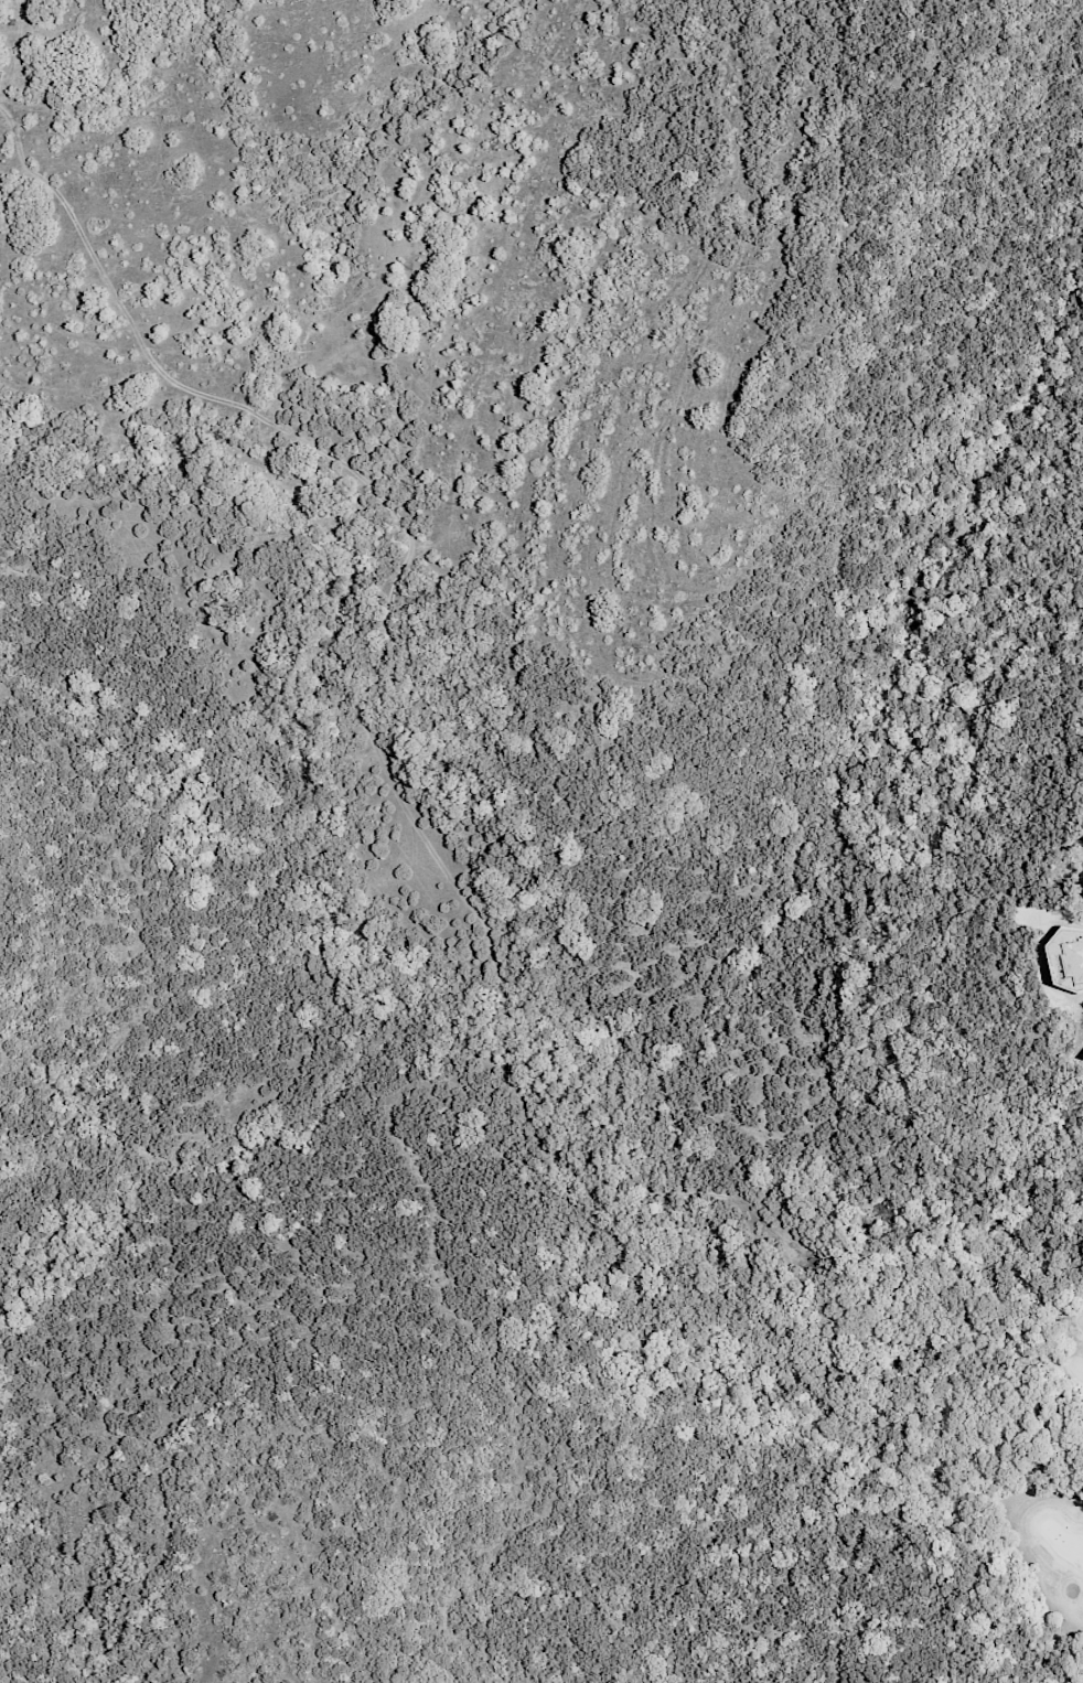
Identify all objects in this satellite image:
building: (0, 72)
park: (1027, 1496)

